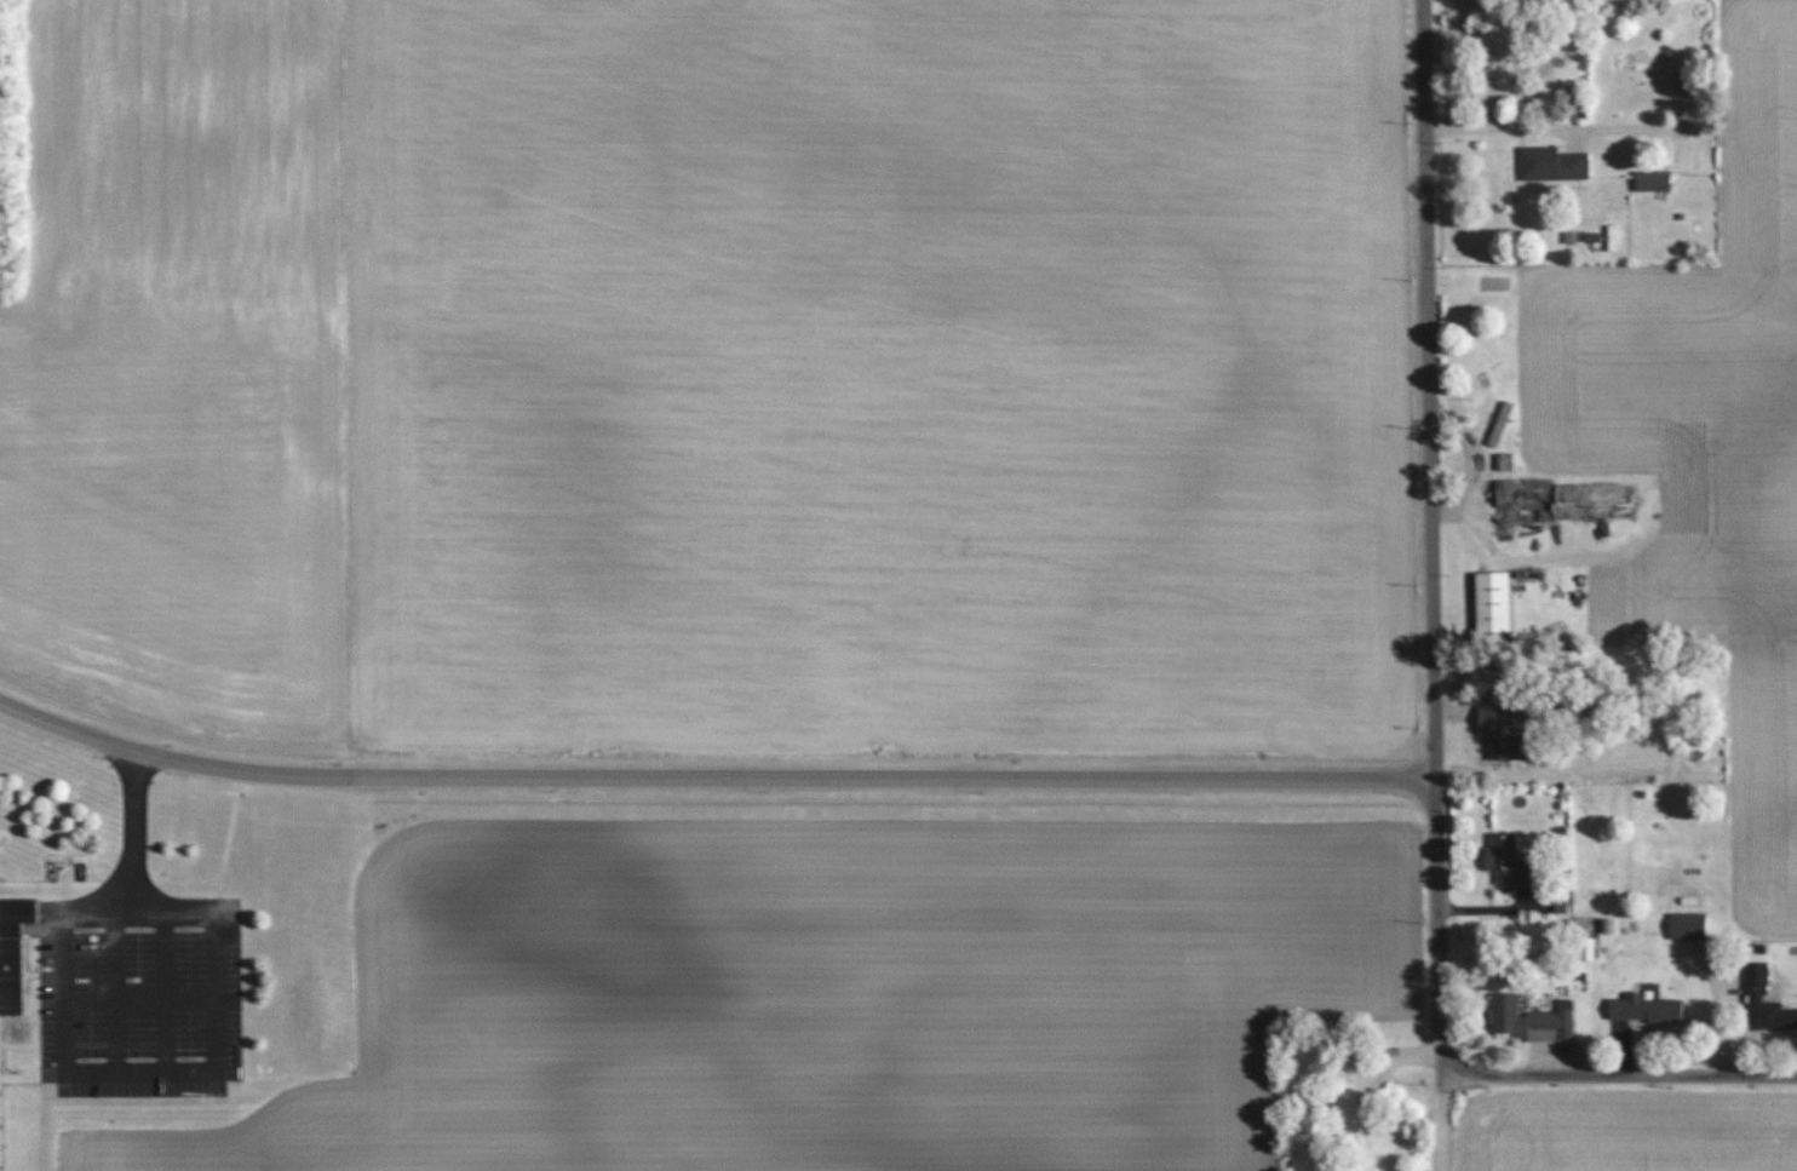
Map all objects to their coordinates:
road: (1550, 130)
building: (1551, 163)
building: (1652, 180)
building: (1499, 424)
building: (1504, 461)
building: (1506, 503)
road: (1424, 535)
building: (1491, 602)
building: (1502, 730)
road: (708, 776)
building: (1504, 861)
building: (1687, 926)
building: (11, 949)
road: (213, 989)
building: (1763, 1004)
building: (1643, 1009)
road: (1720, 1009)
building: (1529, 1021)
road: (1615, 1073)

